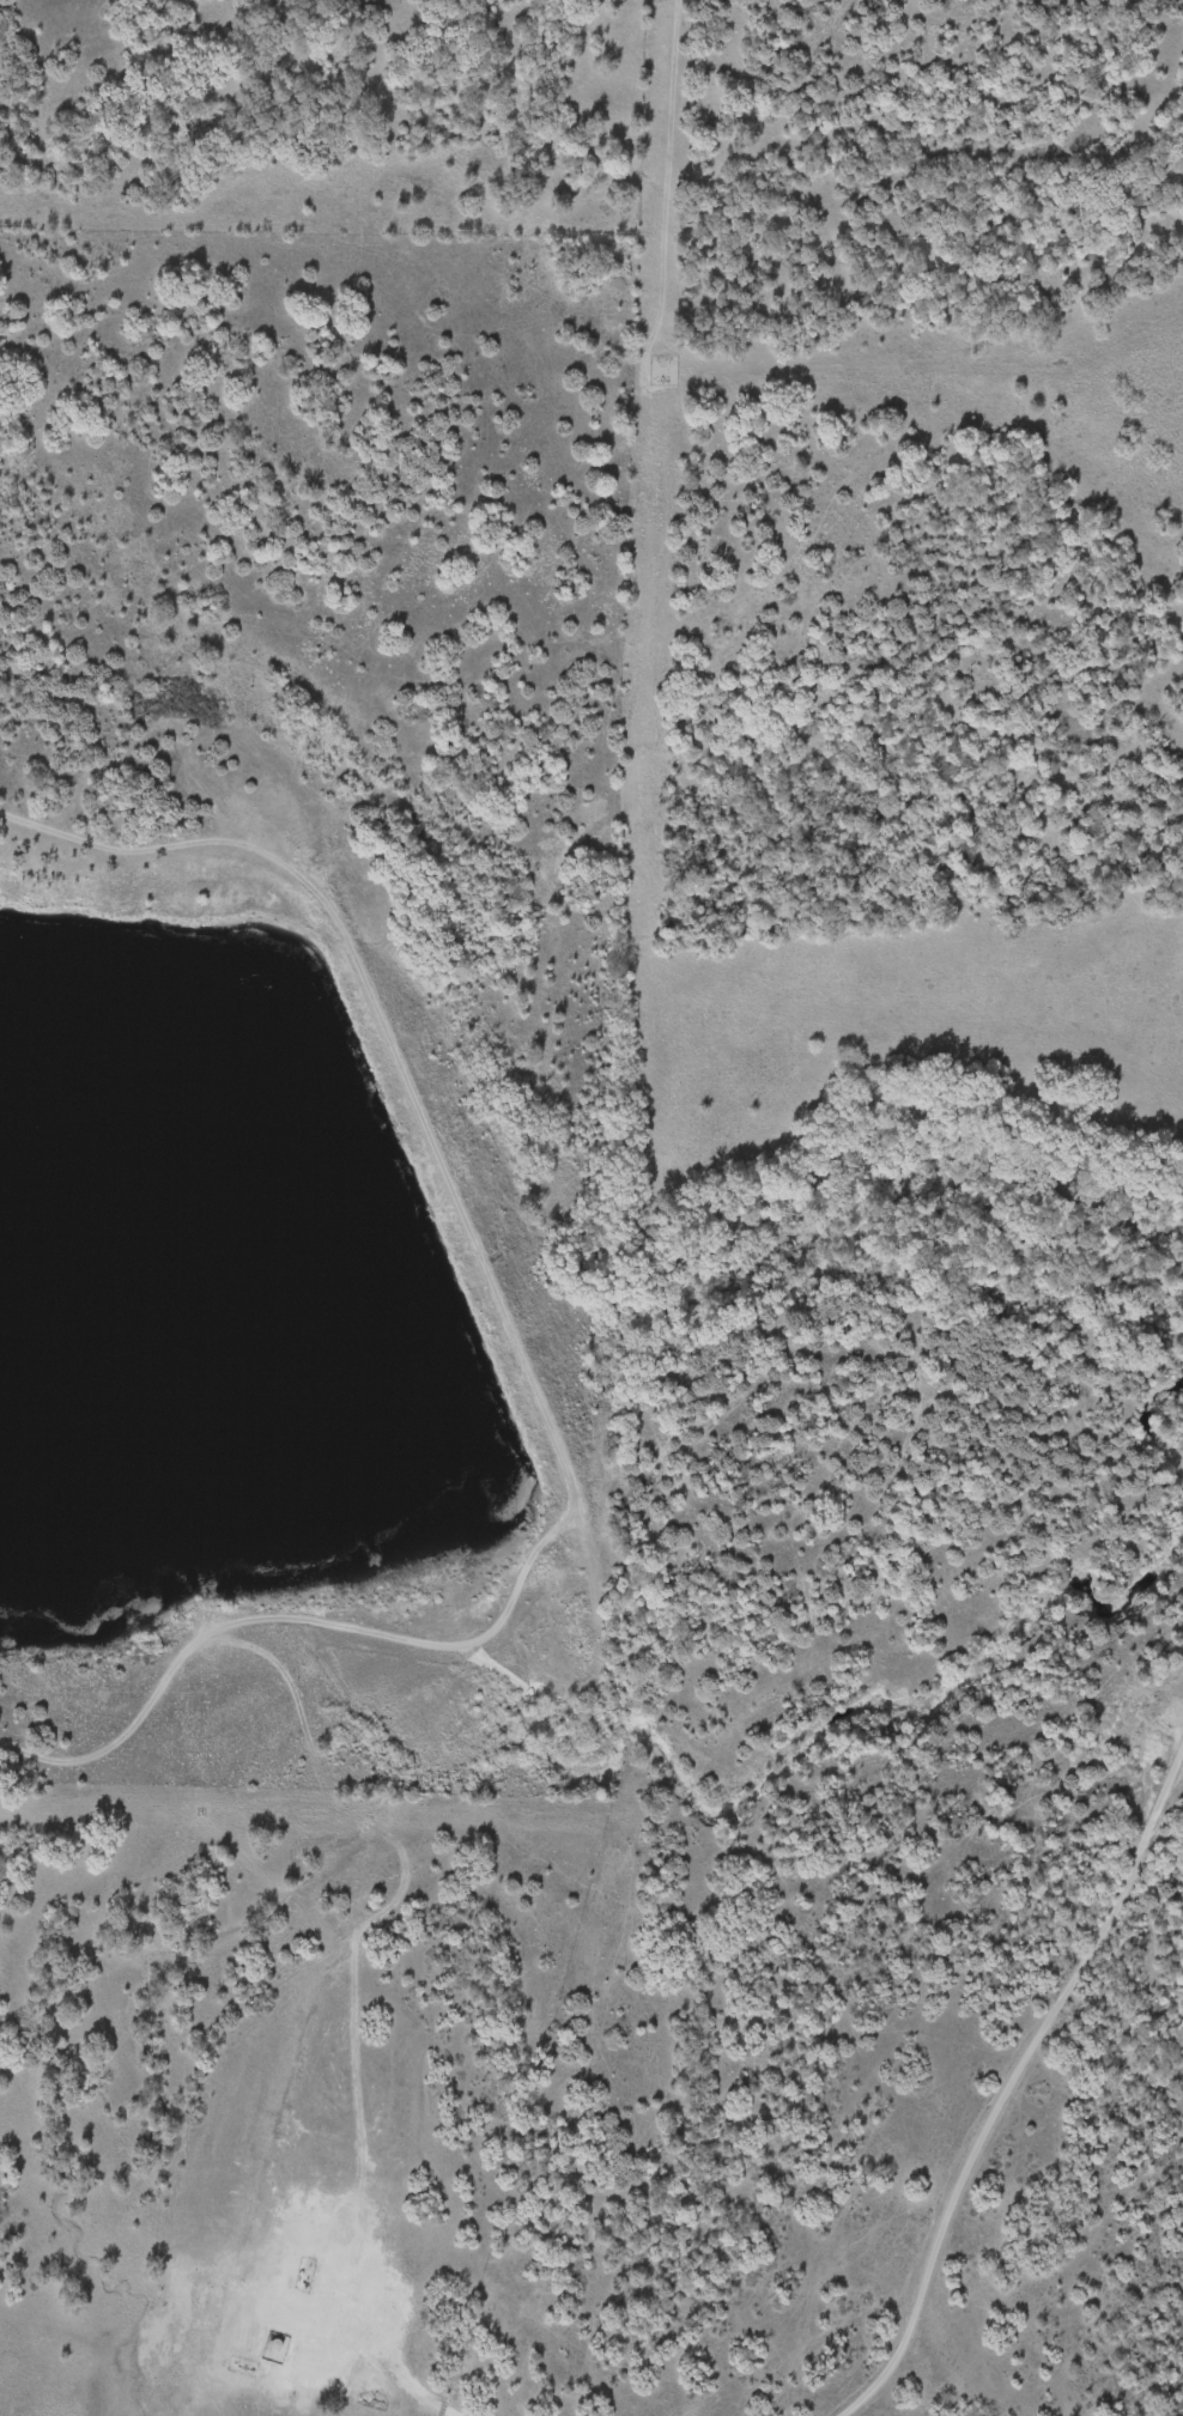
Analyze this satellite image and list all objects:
road: (993, 2080)
road: (409, 2384)

